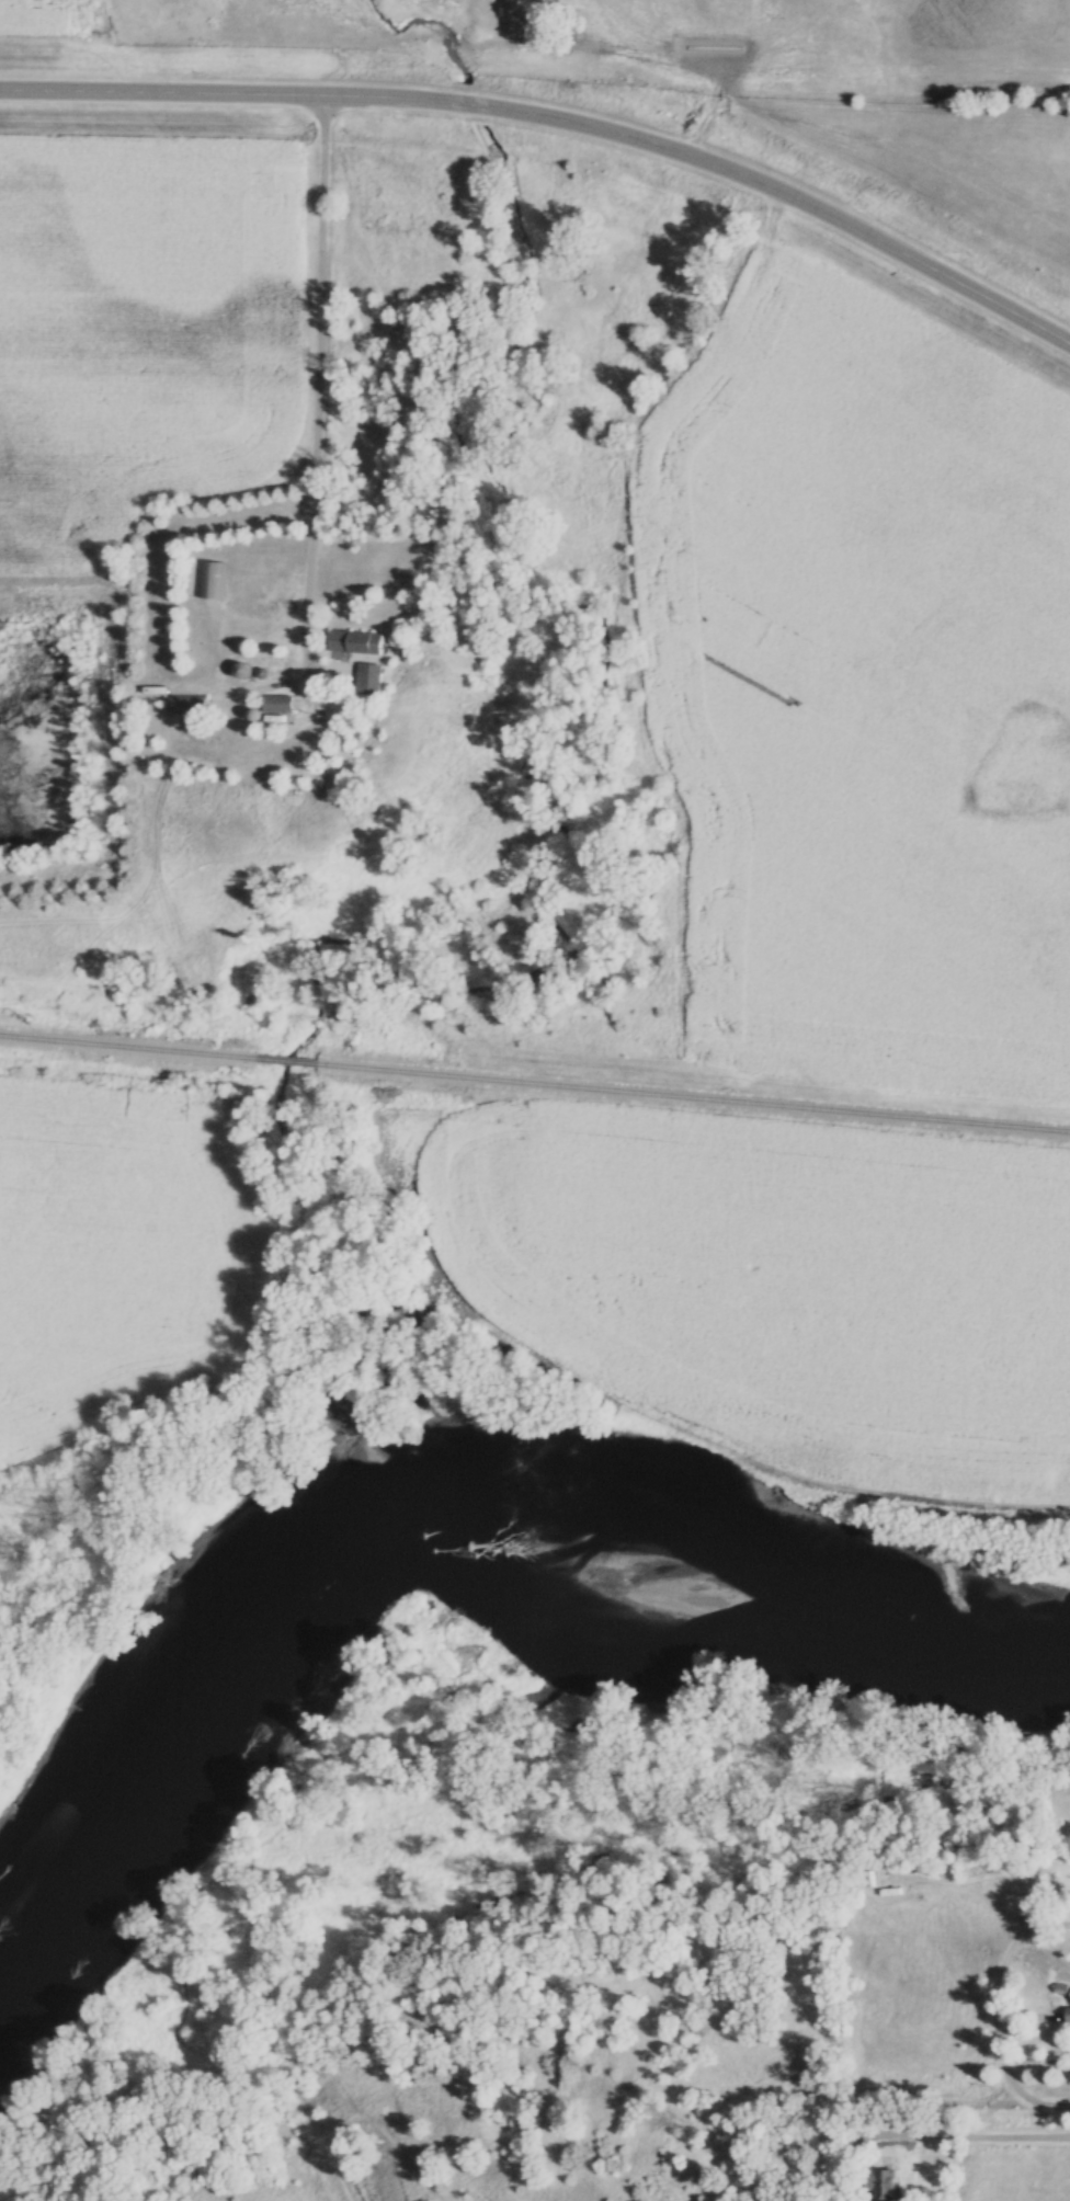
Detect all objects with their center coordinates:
road: (560, 114)
road: (318, 373)
building: (212, 580)
building: (356, 641)
building: (371, 673)
building: (277, 703)
building: (187, 704)
railway: (127, 1046)
railway: (286, 1060)
railway: (693, 1096)
river: (446, 1524)
road: (1005, 2015)
building: (1068, 2016)
road: (1023, 2107)
road: (932, 2139)
building: (884, 2186)

